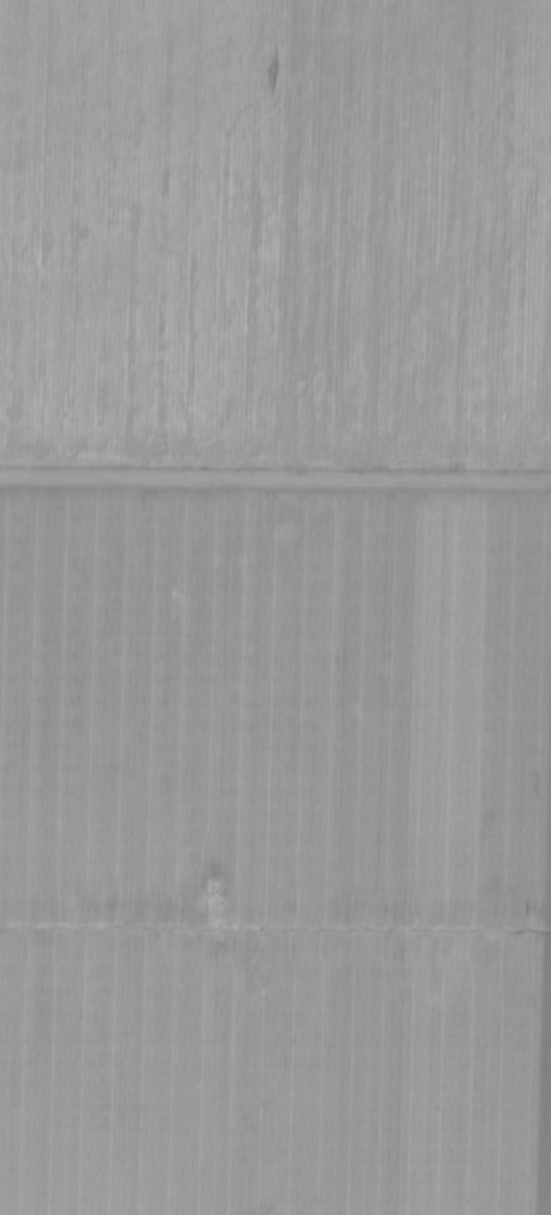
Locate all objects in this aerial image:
crop: (275, 607)

